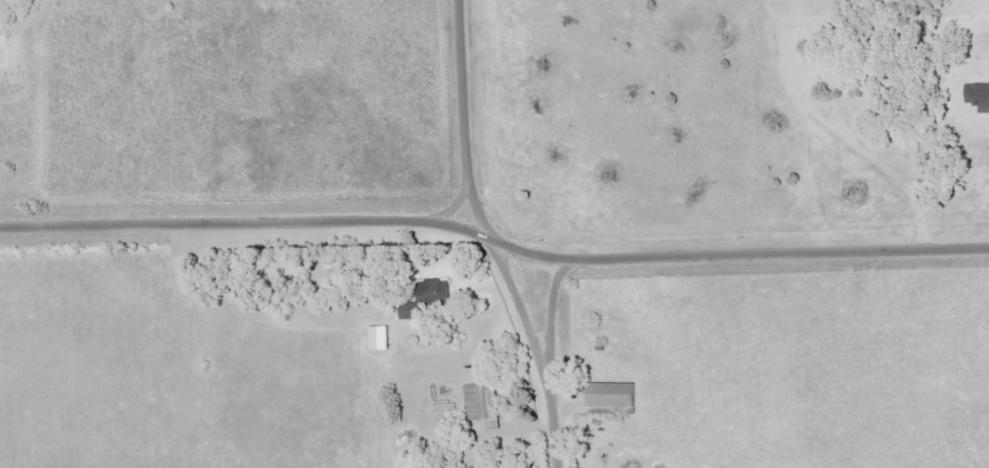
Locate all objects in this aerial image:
building: (978, 97)
road: (464, 107)
road: (493, 235)
building: (428, 298)
road: (550, 315)
building: (380, 339)
road: (534, 351)
building: (611, 397)
building: (483, 404)

